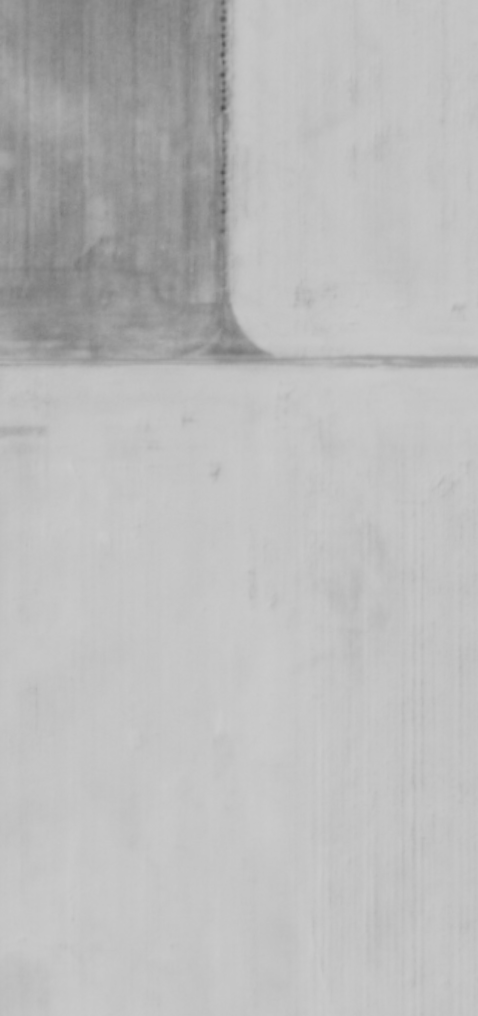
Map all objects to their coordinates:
road: (239, 356)

